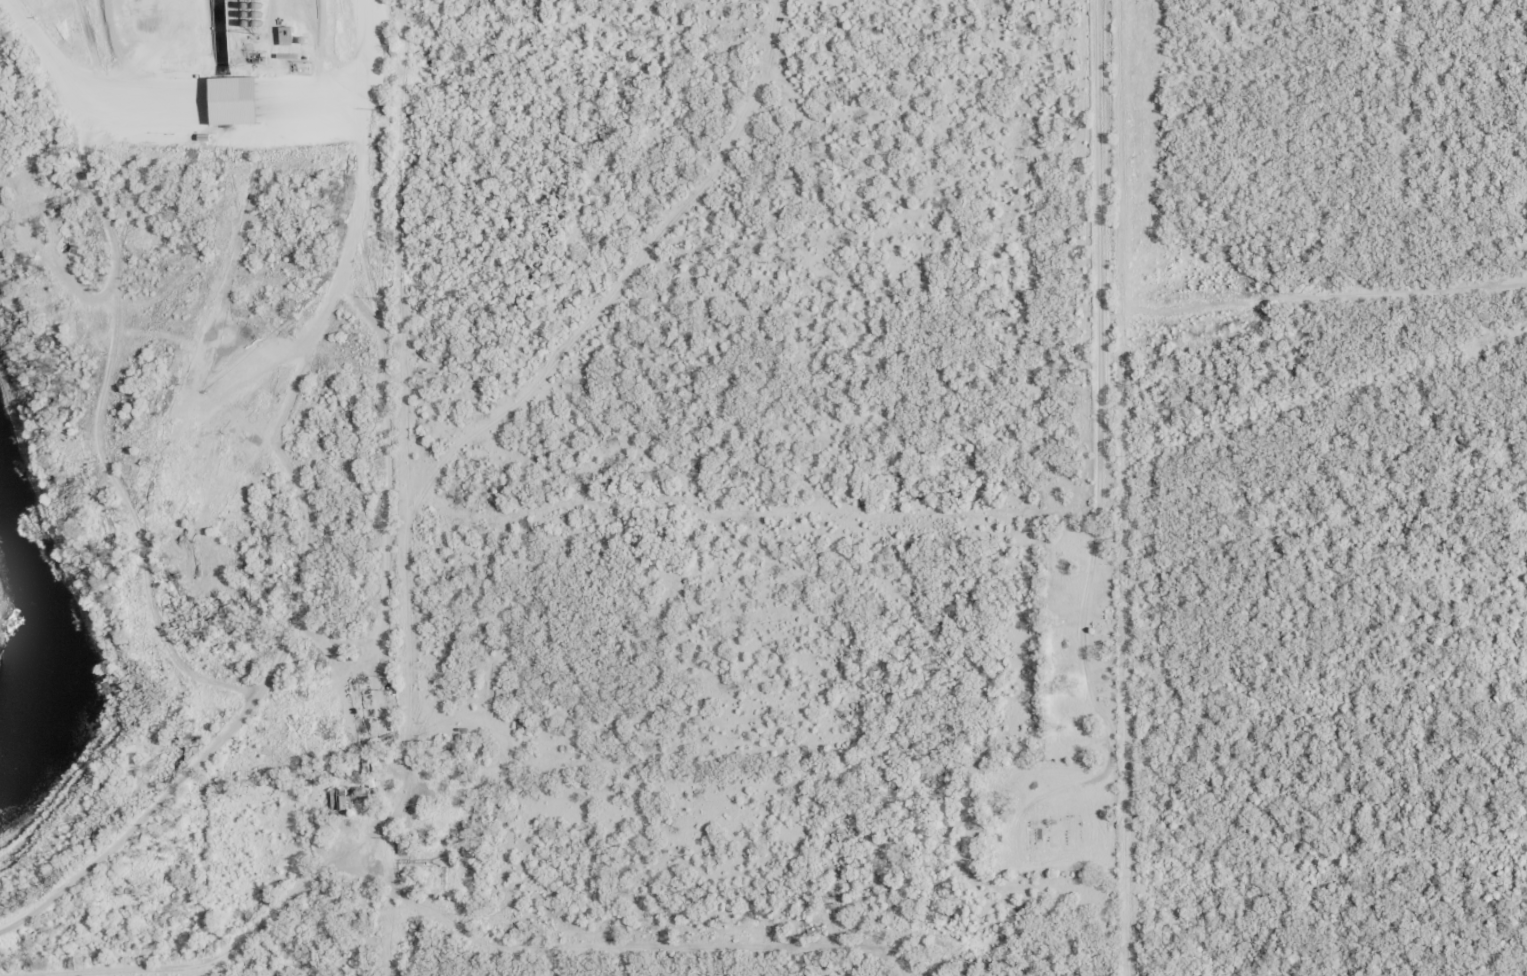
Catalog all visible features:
road: (1097, 381)
building: (351, 794)
park: (1048, 816)
road: (232, 950)

